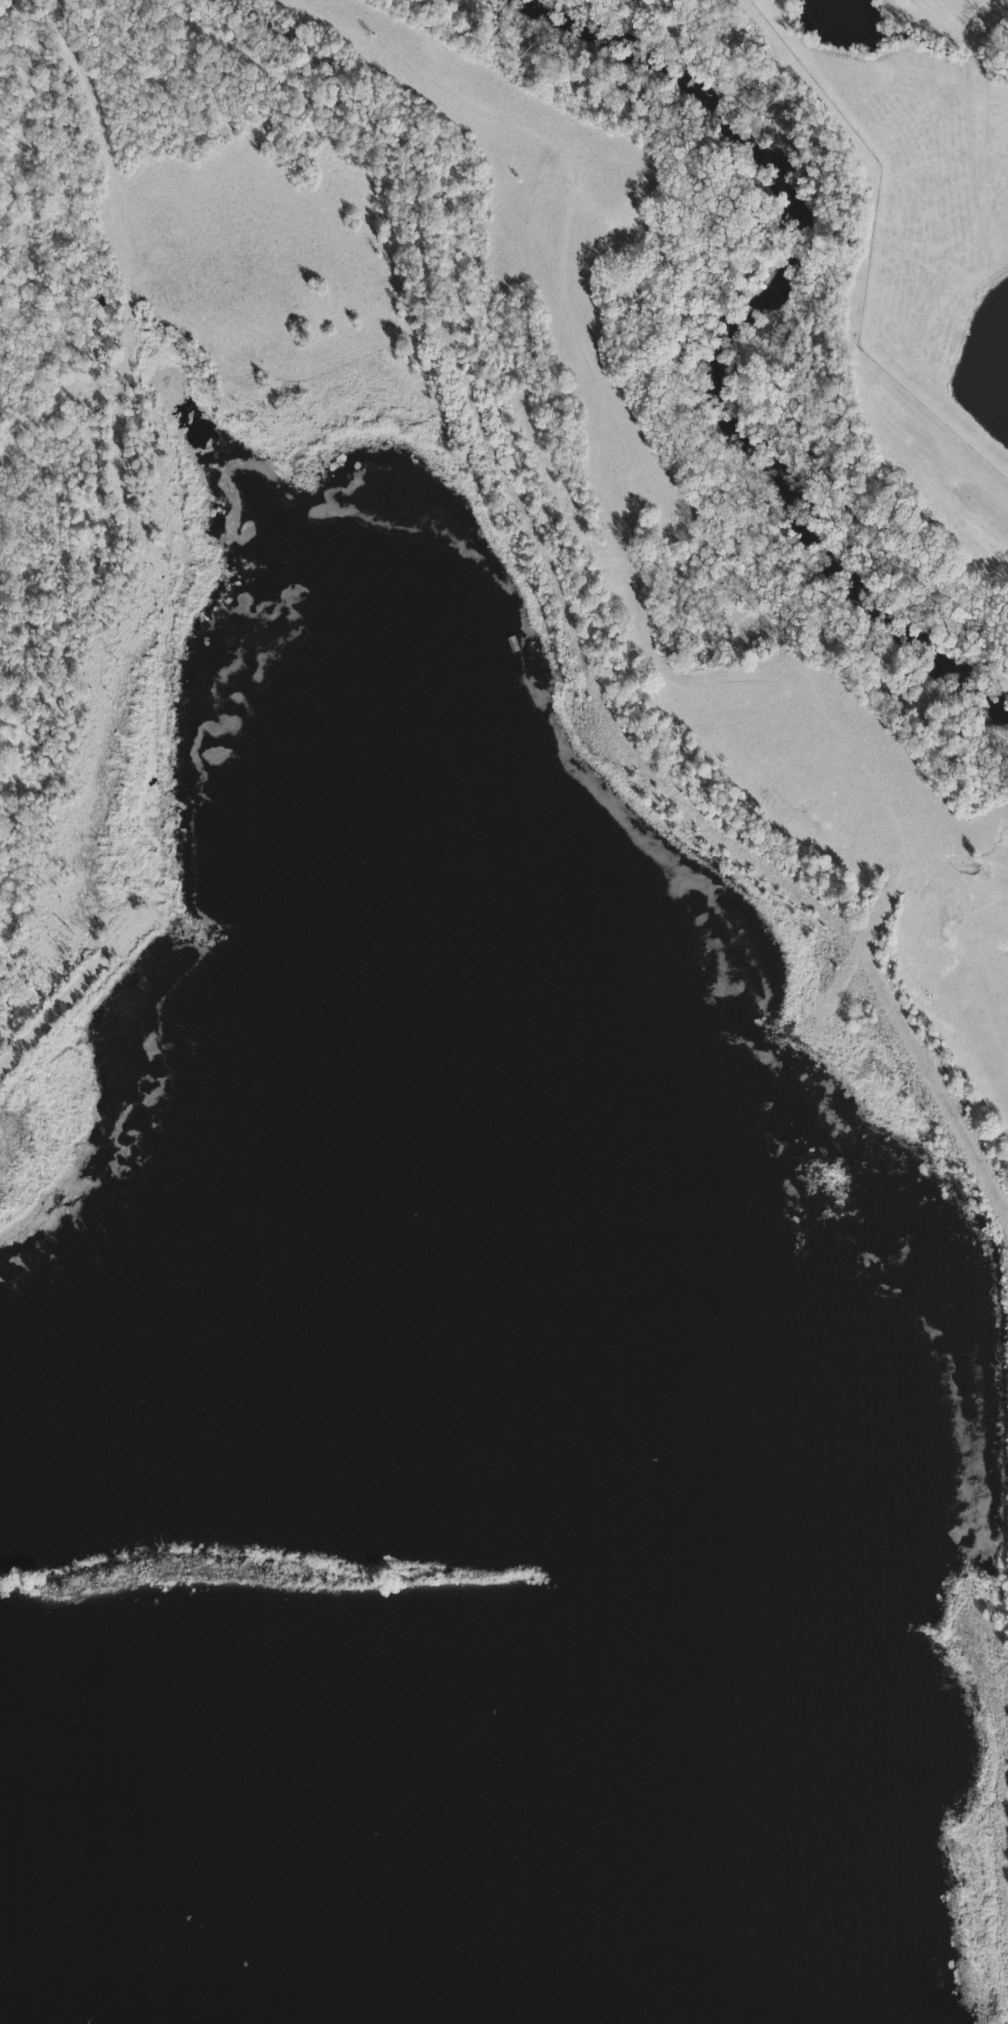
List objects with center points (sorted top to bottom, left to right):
river: (743, 344)

